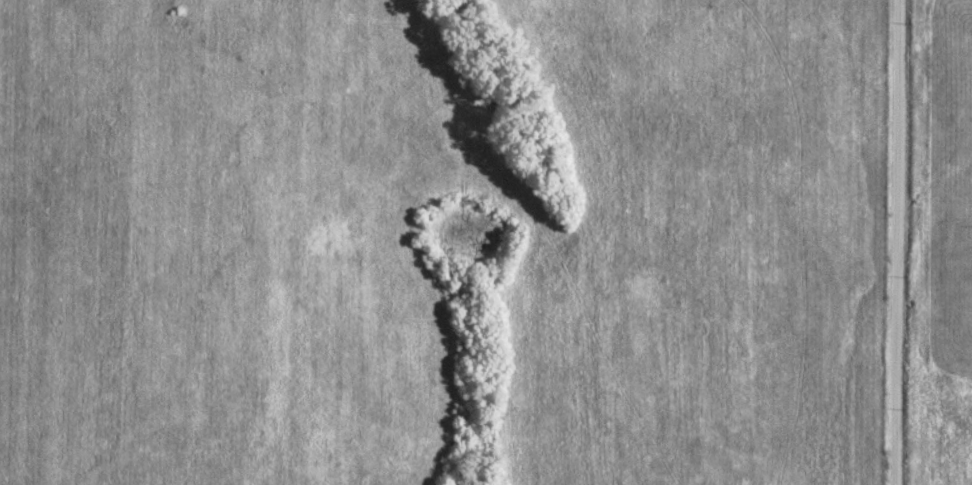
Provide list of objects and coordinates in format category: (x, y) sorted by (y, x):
road: (895, 242)

